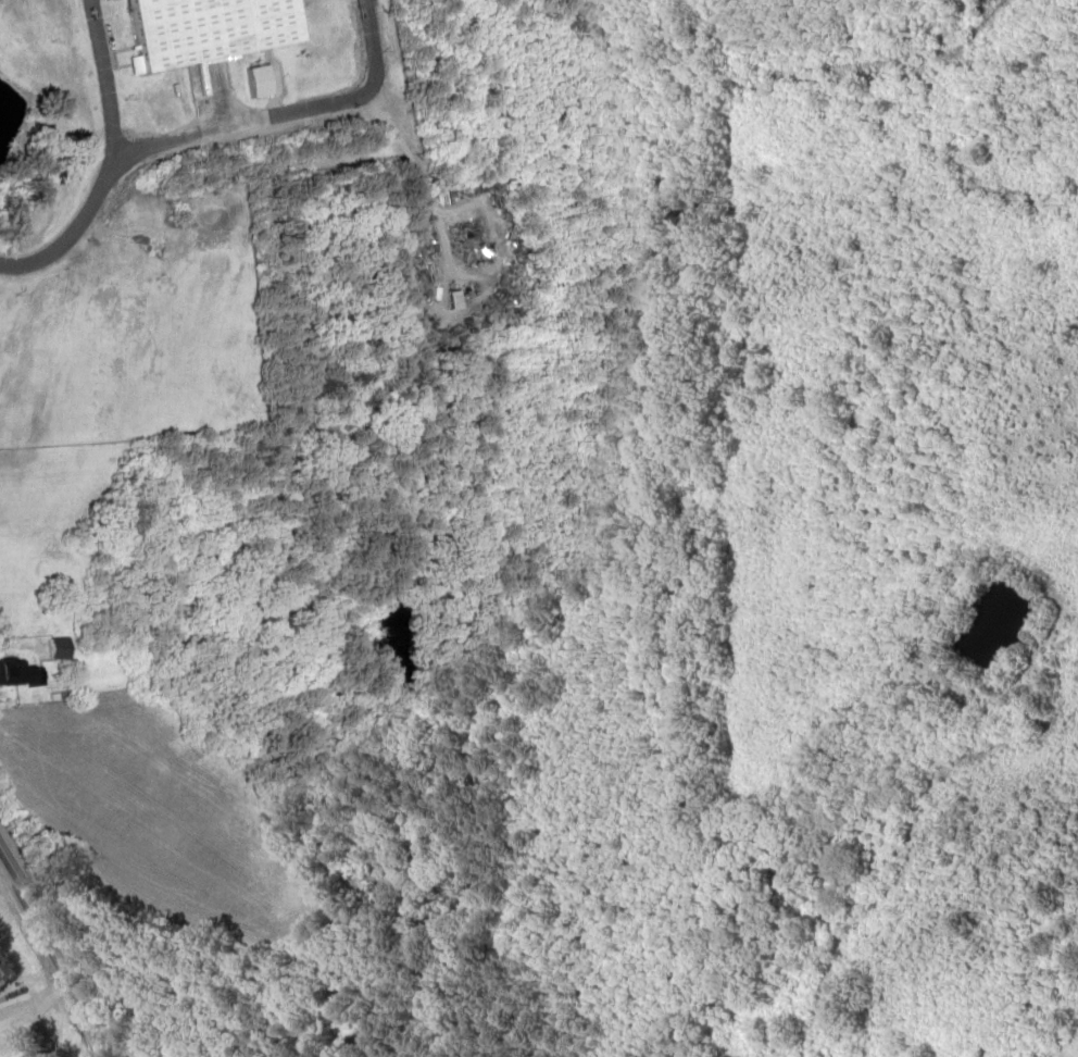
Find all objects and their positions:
building: (214, 29)
building: (413, 229)
building: (441, 297)
building: (64, 649)
building: (20, 672)
road: (58, 953)

